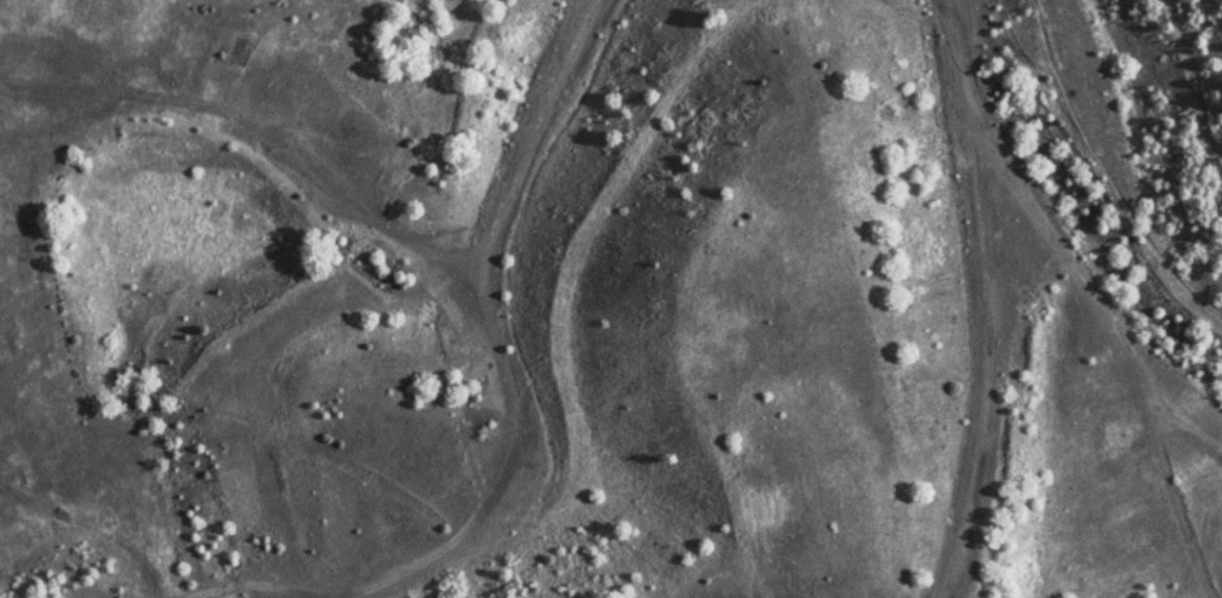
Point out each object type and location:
quarry: (611, 299)

